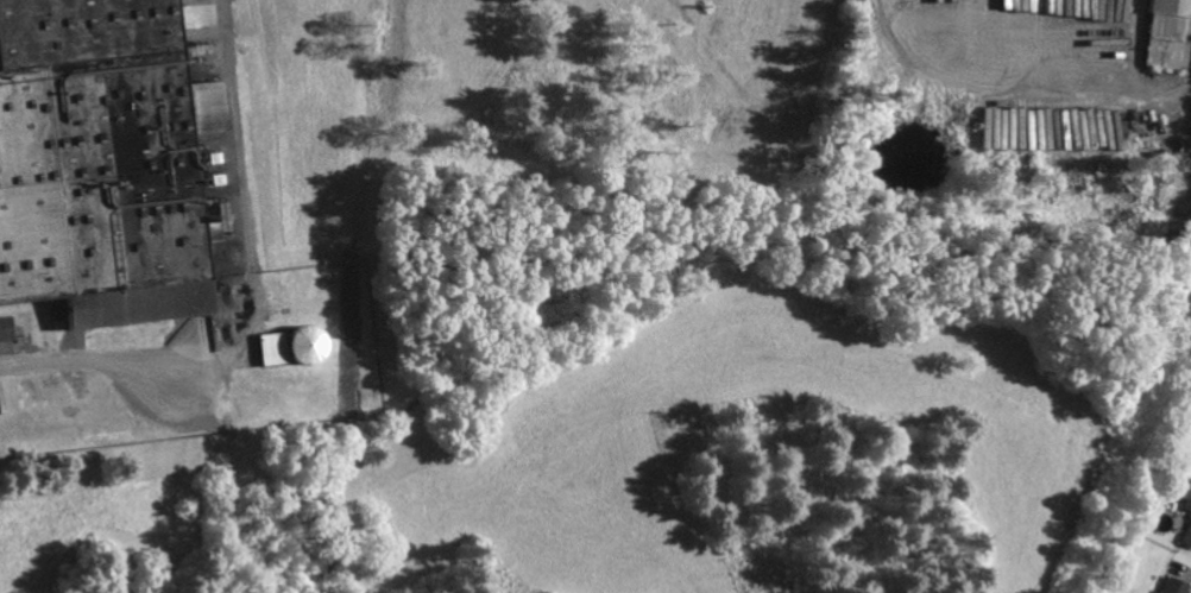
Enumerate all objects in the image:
building: (1172, 33)
building: (86, 150)
building: (6, 328)
building: (313, 343)
building: (277, 347)
railway: (210, 374)
building: (1187, 490)
railway: (226, 513)
building: (1189, 537)
building: (1178, 585)

